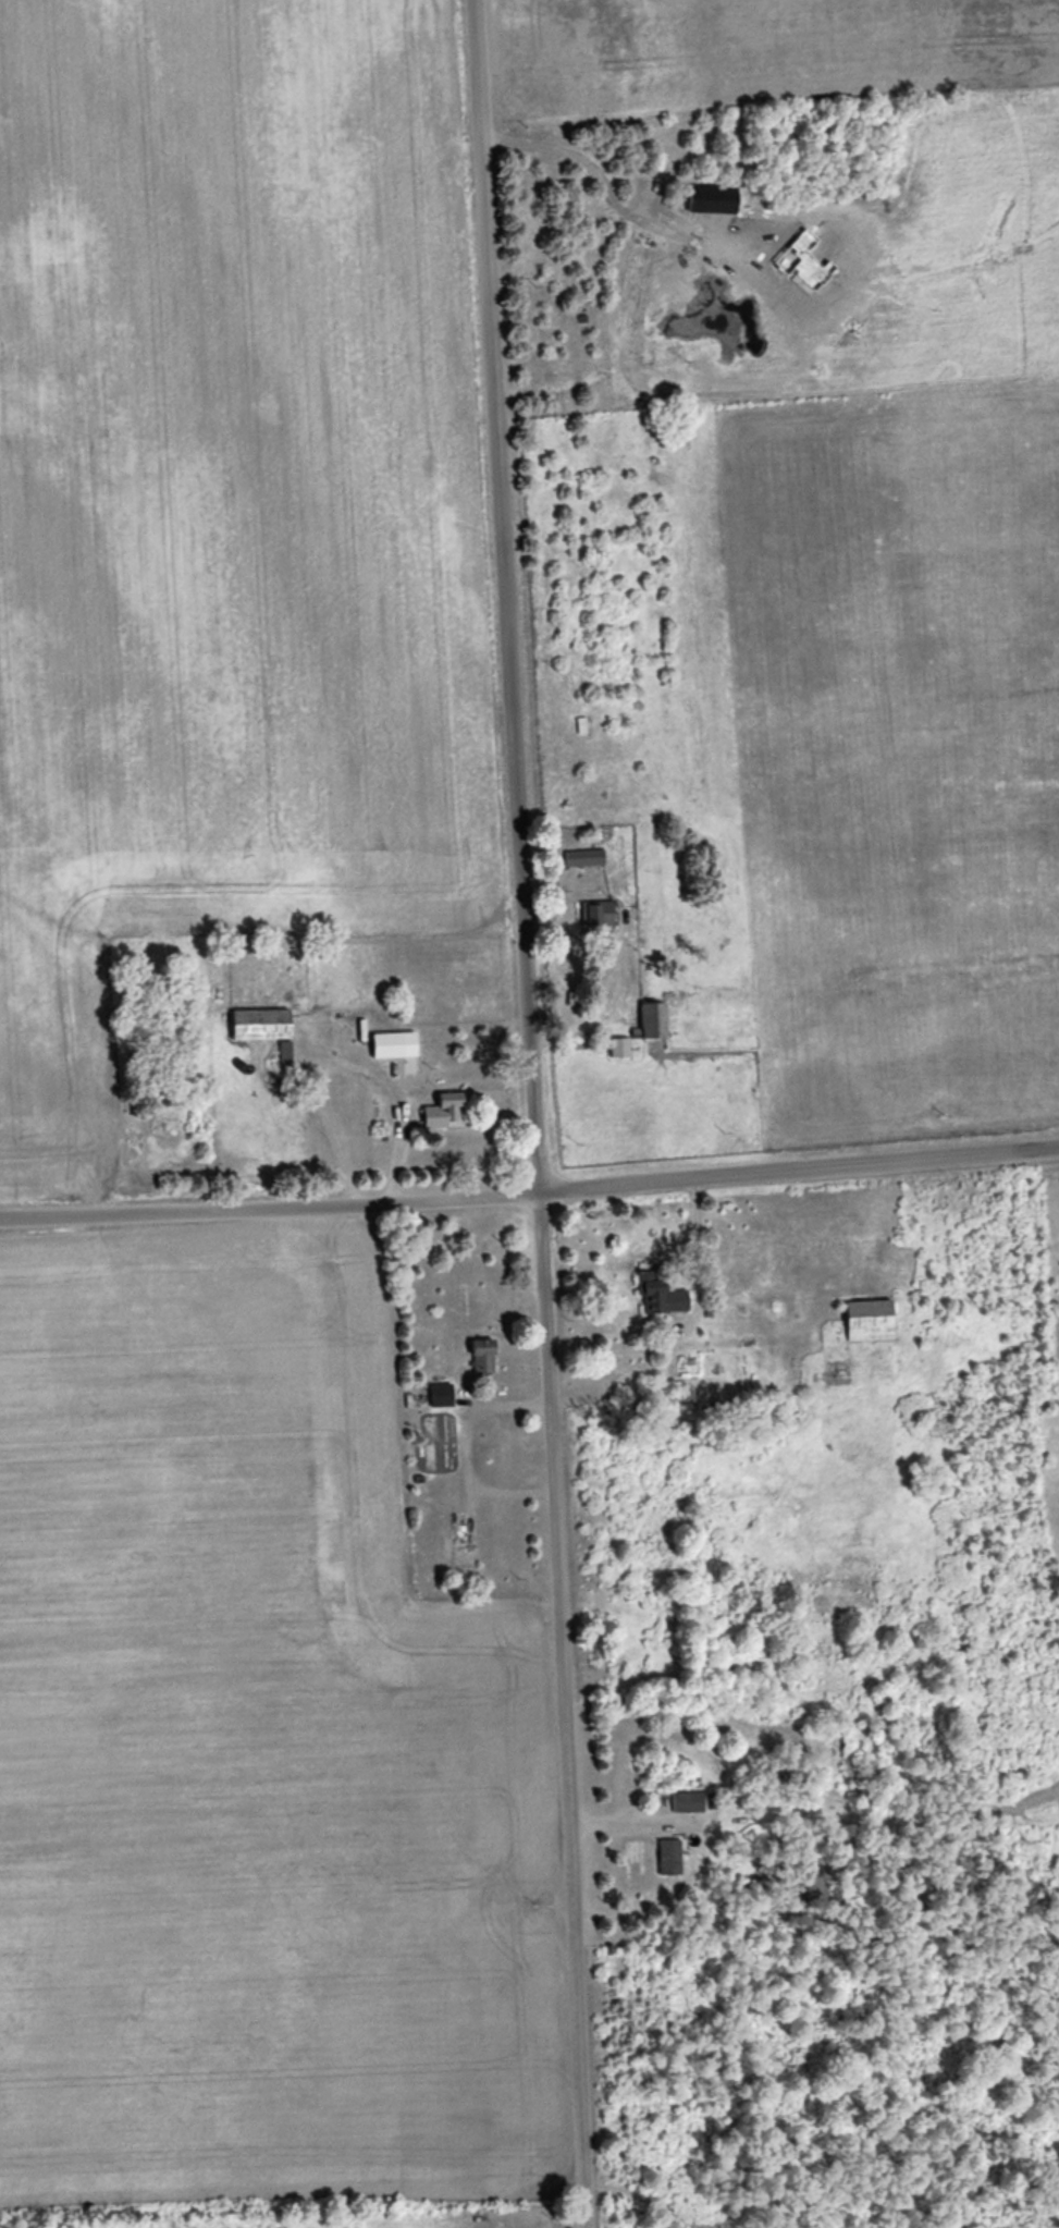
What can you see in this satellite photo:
building: (583, 726)
building: (586, 858)
building: (601, 915)
building: (657, 1020)
building: (262, 1025)
building: (391, 1045)
building: (448, 1112)
road: (532, 1113)
road: (530, 1201)
building: (665, 1295)
building: (873, 1321)
building: (487, 1357)
building: (443, 1395)
building: (689, 1803)
building: (672, 1858)

